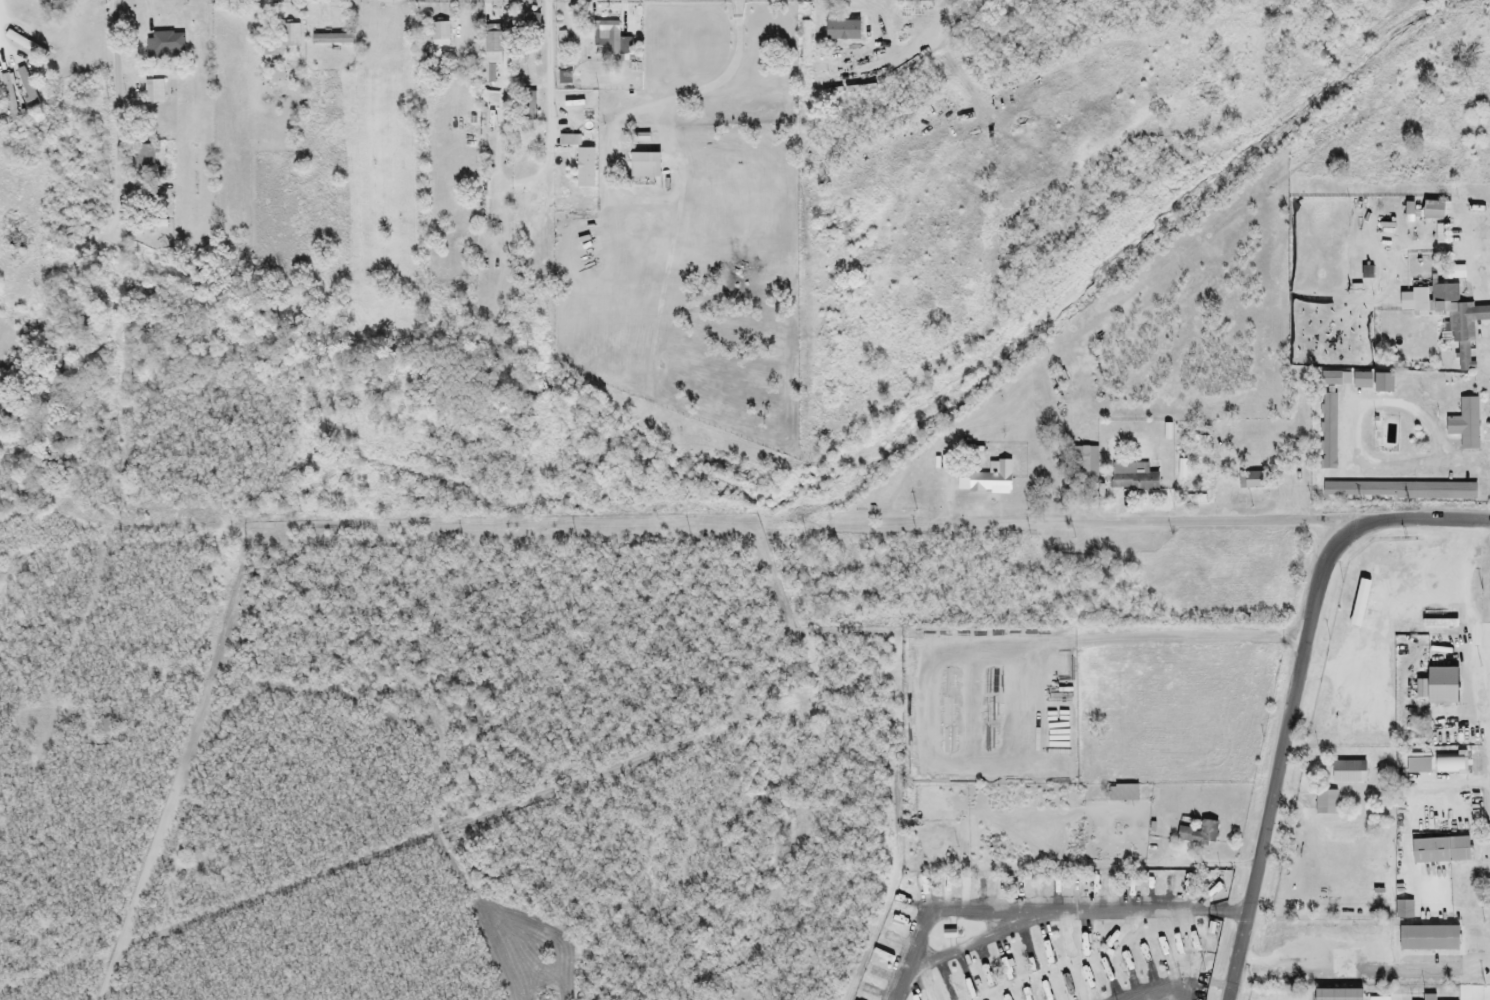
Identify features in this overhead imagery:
building: (44, 1)
building: (37, 23)
building: (525, 23)
building: (646, 26)
building: (440, 34)
building: (288, 35)
building: (614, 36)
building: (340, 41)
building: (499, 41)
building: (805, 41)
building: (165, 45)
building: (564, 47)
building: (32, 50)
road: (550, 72)
building: (26, 87)
building: (154, 91)
building: (8, 95)
building: (143, 158)
building: (585, 168)
road: (110, 192)
building: (1433, 211)
building: (1452, 317)
building: (1330, 379)
building: (1363, 379)
building: (1464, 424)
building: (1328, 431)
building: (1088, 466)
building: (1132, 478)
building: (991, 481)
building: (1249, 481)
building: (1461, 492)
road: (1157, 521)
building: (1379, 576)
road: (1159, 640)
building: (1440, 686)
road: (1296, 692)
building: (1447, 764)
building: (1346, 773)
building: (1120, 794)
building: (1325, 803)
building: (1197, 834)
building: (1438, 851)
building: (1403, 910)
road: (1041, 913)
building: (1427, 939)
road: (968, 949)
road: (50, 985)
road: (1163, 994)
building: (1336, 995)
building: (1428, 997)

